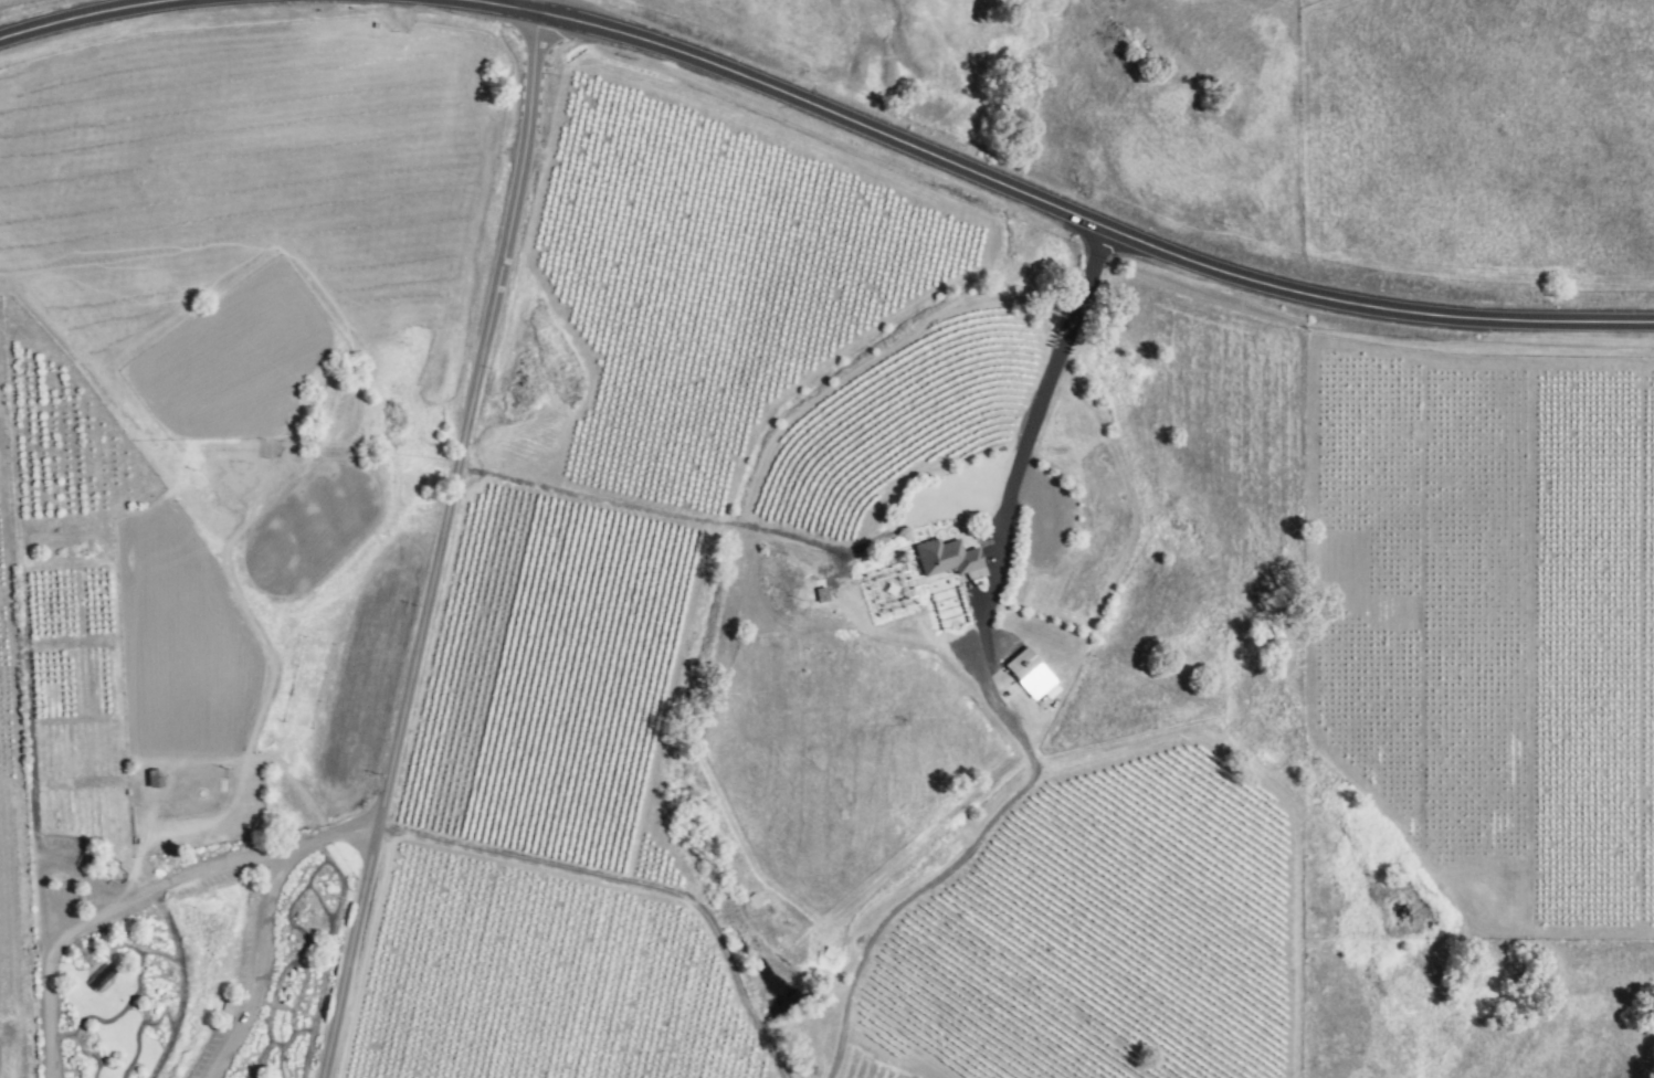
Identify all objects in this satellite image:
road: (531, 6)
road: (85, 14)
road: (1051, 208)
road: (745, 526)
road: (443, 545)
building: (946, 558)
building: (1029, 675)
road: (991, 688)
building: (151, 778)
road: (335, 834)
road: (217, 864)
road: (638, 883)
road: (48, 952)
road: (256, 969)

